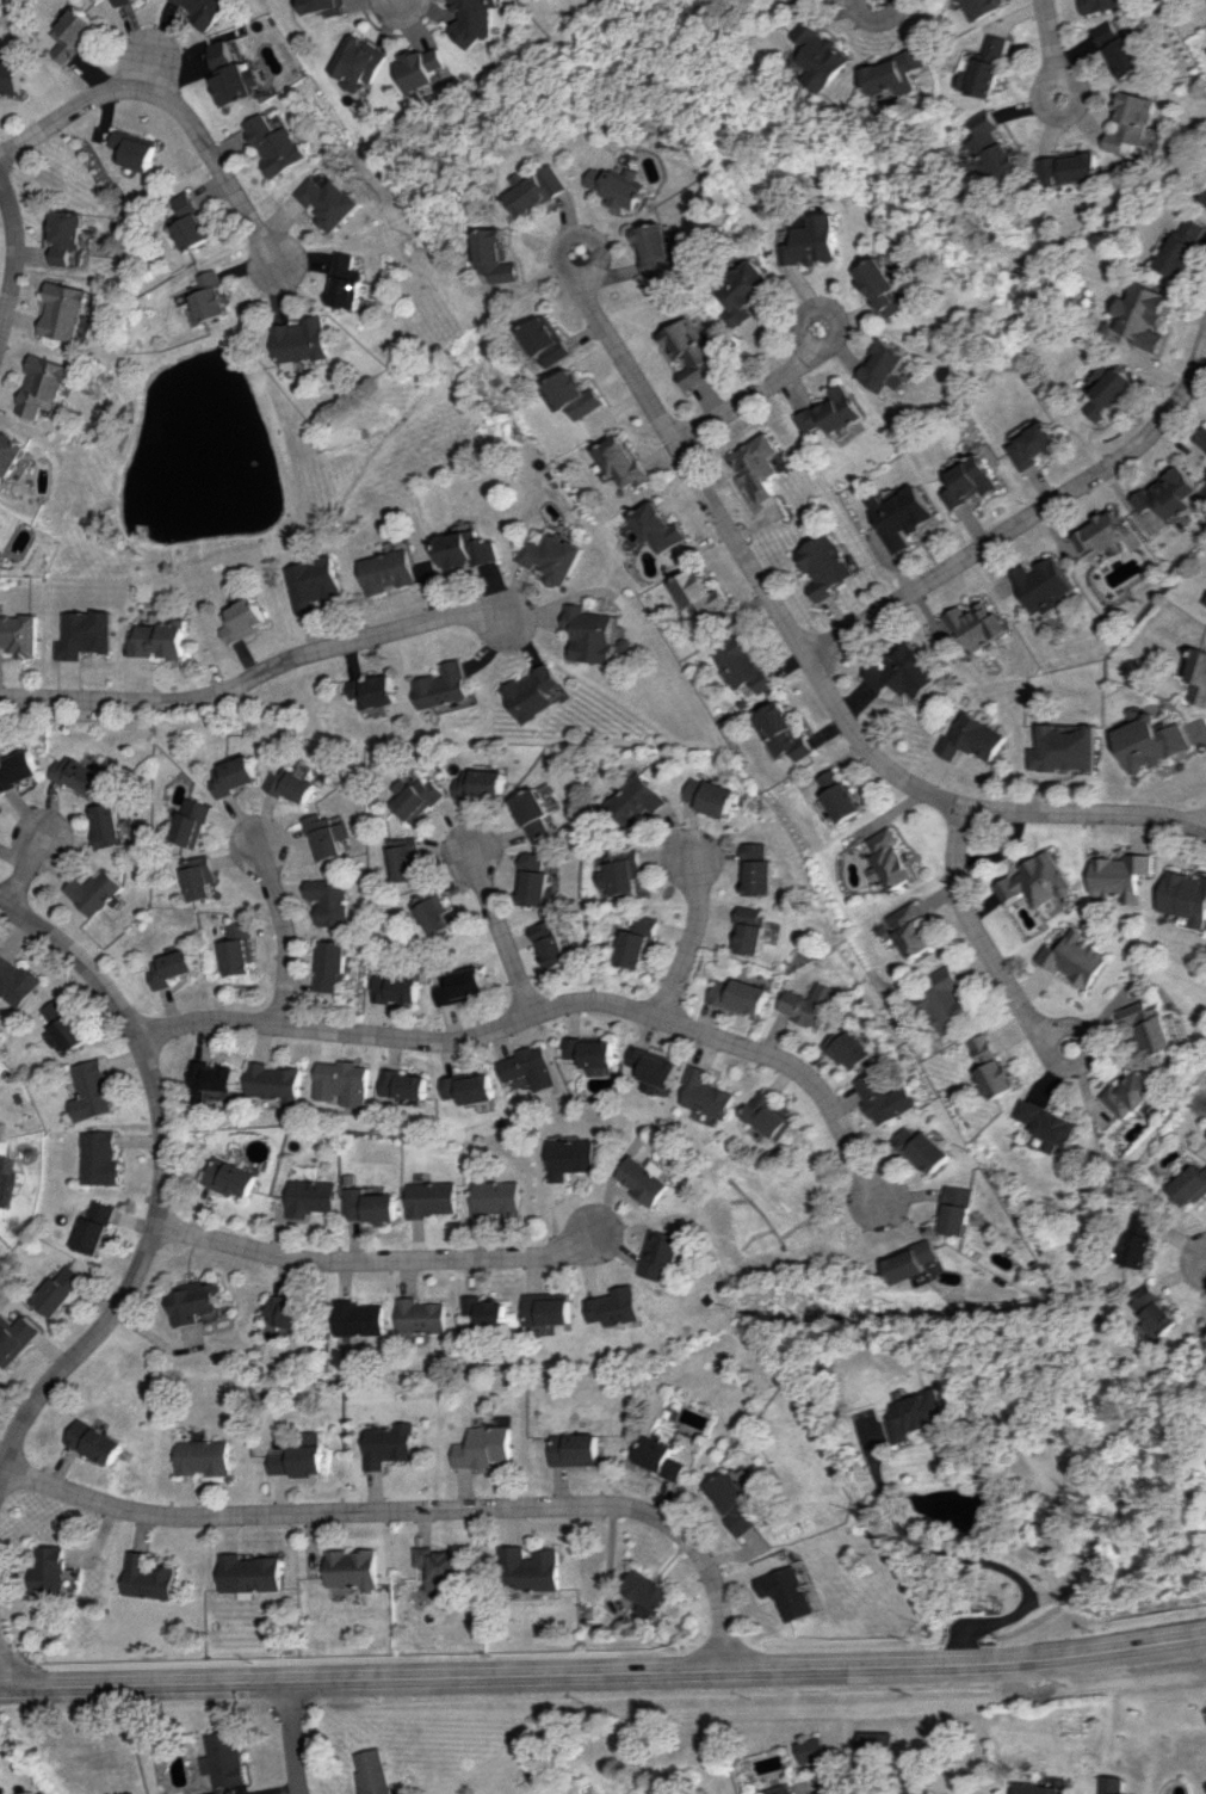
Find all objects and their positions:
building: (812, 0)
building: (122, 1)
road: (404, 2)
building: (1101, 5)
building: (322, 6)
building: (982, 7)
building: (206, 10)
building: (480, 18)
building: (73, 33)
road: (154, 37)
road: (1052, 47)
building: (1121, 49)
building: (827, 56)
building: (359, 62)
building: (425, 67)
building: (988, 67)
building: (899, 72)
building: (233, 74)
building: (10, 78)
road: (171, 105)
building: (1133, 121)
building: (276, 144)
building: (997, 147)
building: (131, 150)
building: (1075, 166)
building: (620, 186)
building: (537, 189)
building: (328, 202)
building: (188, 222)
building: (66, 235)
building: (814, 241)
building: (658, 248)
building: (1187, 248)
road: (11, 254)
building: (495, 255)
building: (348, 282)
building: (884, 286)
building: (744, 292)
building: (209, 297)
building: (64, 312)
building: (1146, 315)
building: (303, 340)
building: (545, 340)
building: (688, 351)
building: (888, 366)
building: (45, 387)
building: (1111, 390)
road: (753, 392)
building: (574, 395)
building: (833, 412)
building: (1202, 440)
building: (1035, 445)
building: (12, 454)
building: (620, 461)
building: (757, 466)
building: (25, 469)
building: (970, 481)
building: (1165, 498)
building: (901, 516)
road: (1025, 519)
building: (657, 529)
building: (1106, 535)
building: (468, 550)
building: (552, 557)
building: (825, 566)
building: (389, 571)
building: (314, 582)
building: (1044, 585)
building: (697, 593)
building: (1205, 603)
building: (245, 619)
building: (977, 625)
building: (86, 634)
building: (590, 634)
building: (19, 635)
building: (161, 639)
road: (806, 656)
building: (740, 662)
building: (903, 672)
road: (259, 674)
building: (1198, 677)
building: (445, 686)
building: (377, 691)
building: (534, 692)
building: (780, 732)
building: (973, 738)
building: (1148, 741)
building: (1063, 748)
building: (18, 769)
building: (78, 775)
building: (235, 775)
building: (483, 783)
building: (293, 785)
building: (837, 794)
building: (419, 796)
building: (709, 796)
building: (632, 802)
building: (536, 813)
building: (190, 821)
building: (107, 824)
building: (327, 837)
building: (890, 858)
building: (404, 862)
road: (27, 868)
building: (756, 870)
building: (624, 871)
building: (1120, 875)
building: (197, 877)
building: (1035, 881)
building: (540, 882)
building: (97, 892)
building: (1186, 896)
building: (329, 901)
building: (434, 916)
road: (280, 927)
building: (909, 929)
road: (505, 930)
building: (749, 930)
road: (695, 936)
road: (981, 939)
building: (558, 942)
building: (642, 943)
building: (1074, 958)
building: (328, 964)
building: (169, 968)
building: (17, 980)
building: (459, 986)
building: (392, 988)
building: (742, 995)
building: (946, 1001)
building: (808, 1004)
road: (557, 1006)
building: (64, 1025)
building: (1150, 1027)
building: (847, 1048)
building: (595, 1053)
building: (528, 1067)
building: (991, 1067)
building: (661, 1068)
building: (209, 1078)
building: (272, 1083)
building: (339, 1083)
building: (401, 1085)
building: (466, 1089)
building: (91, 1090)
building: (713, 1093)
building: (1132, 1095)
building: (884, 1098)
building: (775, 1115)
building: (1050, 1124)
building: (926, 1149)
building: (99, 1158)
building: (570, 1158)
building: (1, 1163)
road: (159, 1175)
building: (228, 1177)
building: (647, 1178)
building: (1192, 1185)
building: (308, 1197)
building: (494, 1197)
building: (429, 1198)
building: (366, 1206)
building: (960, 1210)
building: (94, 1228)
building: (1140, 1241)
building: (662, 1253)
road: (377, 1260)
building: (916, 1260)
road: (1205, 1266)
building: (61, 1289)
building: (192, 1301)
building: (616, 1306)
building: (546, 1308)
building: (484, 1311)
building: (1158, 1311)
building: (285, 1312)
building: (420, 1315)
building: (359, 1318)
building: (14, 1337)
building: (916, 1414)
building: (93, 1442)
building: (388, 1444)
building: (483, 1447)
building: (576, 1449)
building: (200, 1456)
building: (299, 1457)
building: (663, 1457)
building: (735, 1502)
road: (415, 1509)
road: (977, 1560)
building: (439, 1567)
building: (47, 1568)
building: (352, 1568)
building: (532, 1568)
building: (248, 1573)
building: (146, 1578)
building: (649, 1590)
building: (788, 1591)
road: (604, 1672)
road: (291, 1737)
building: (877, 1743)
building: (812, 1749)
building: (222, 1759)
building: (371, 1771)
building: (1113, 1784)
building: (1035, 1788)
building: (777, 1789)
building: (911, 1789)
building: (212, 1793)

